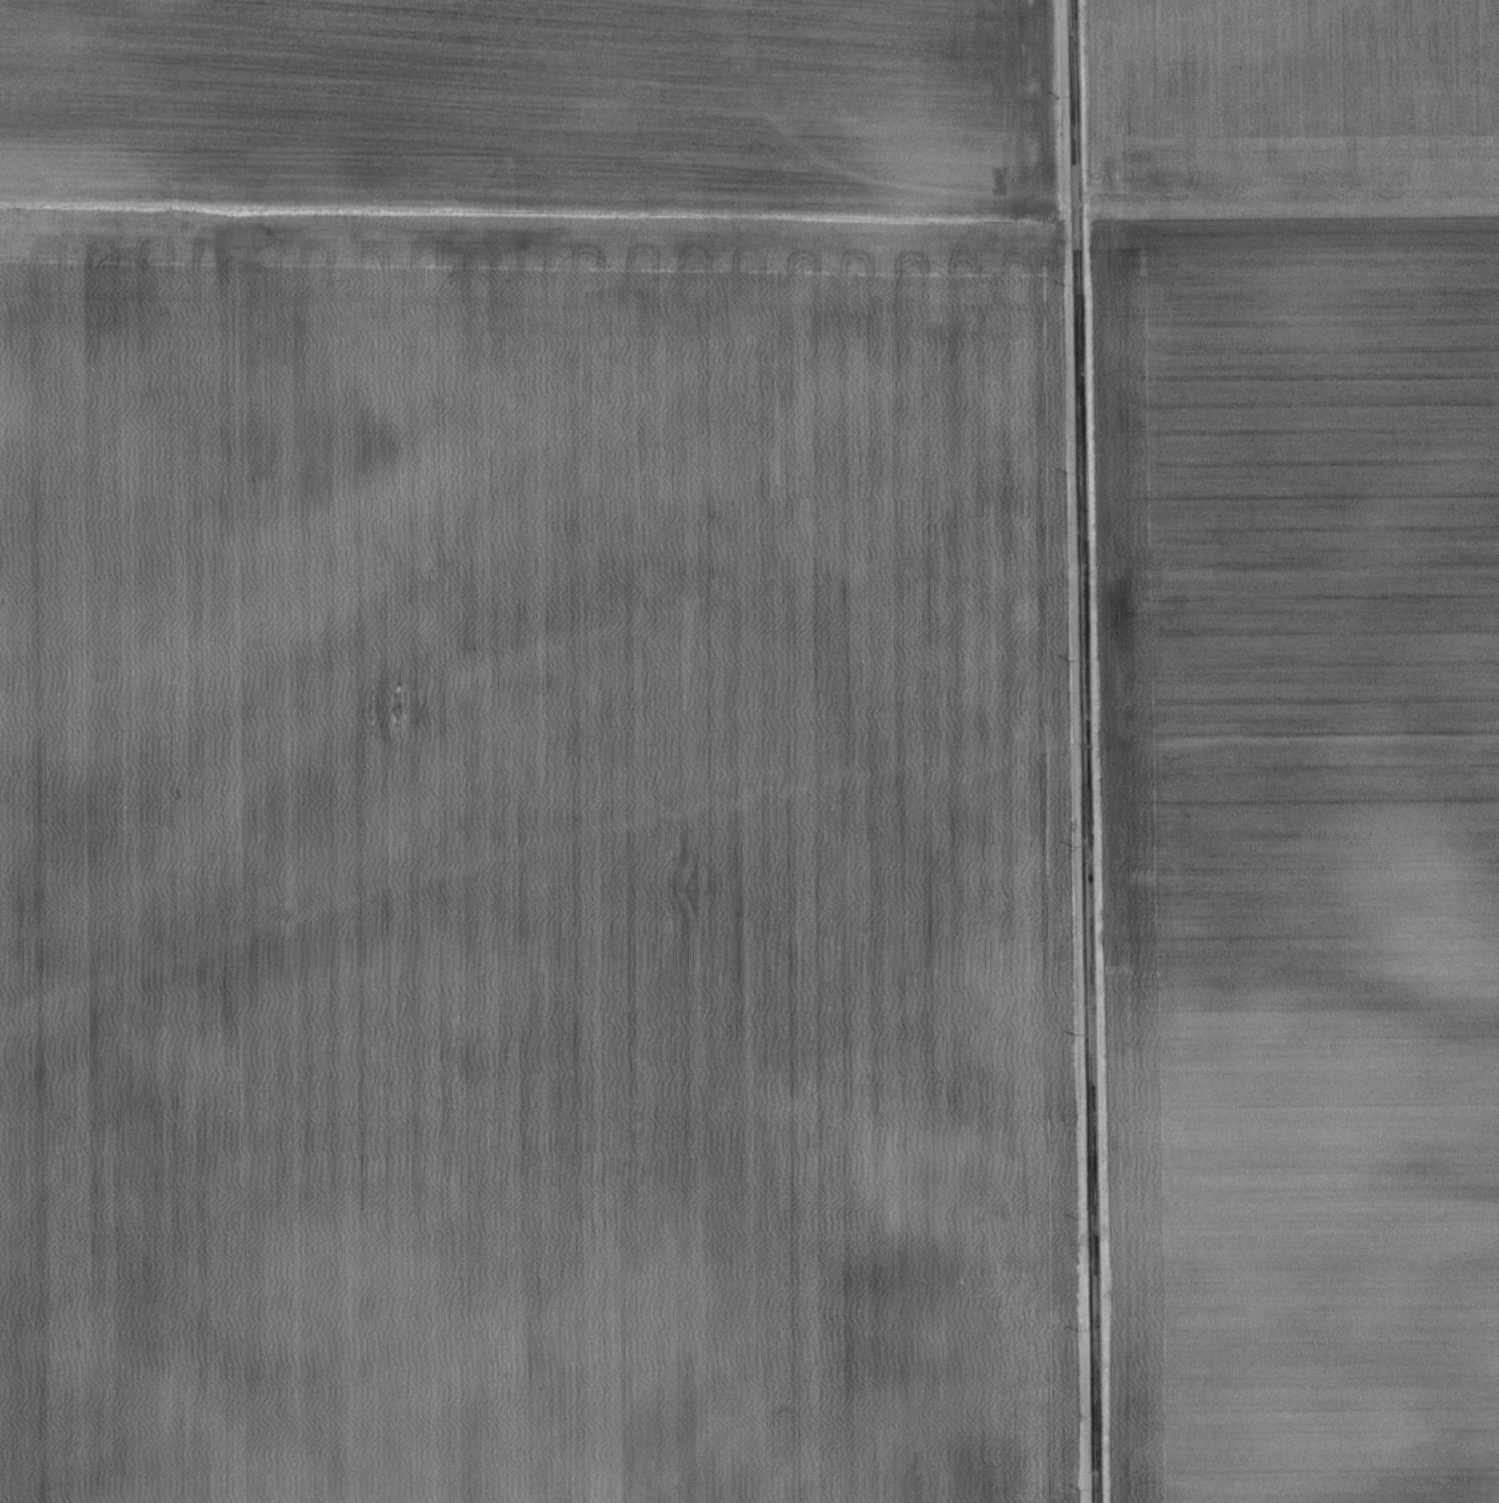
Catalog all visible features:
road: (1091, 751)

